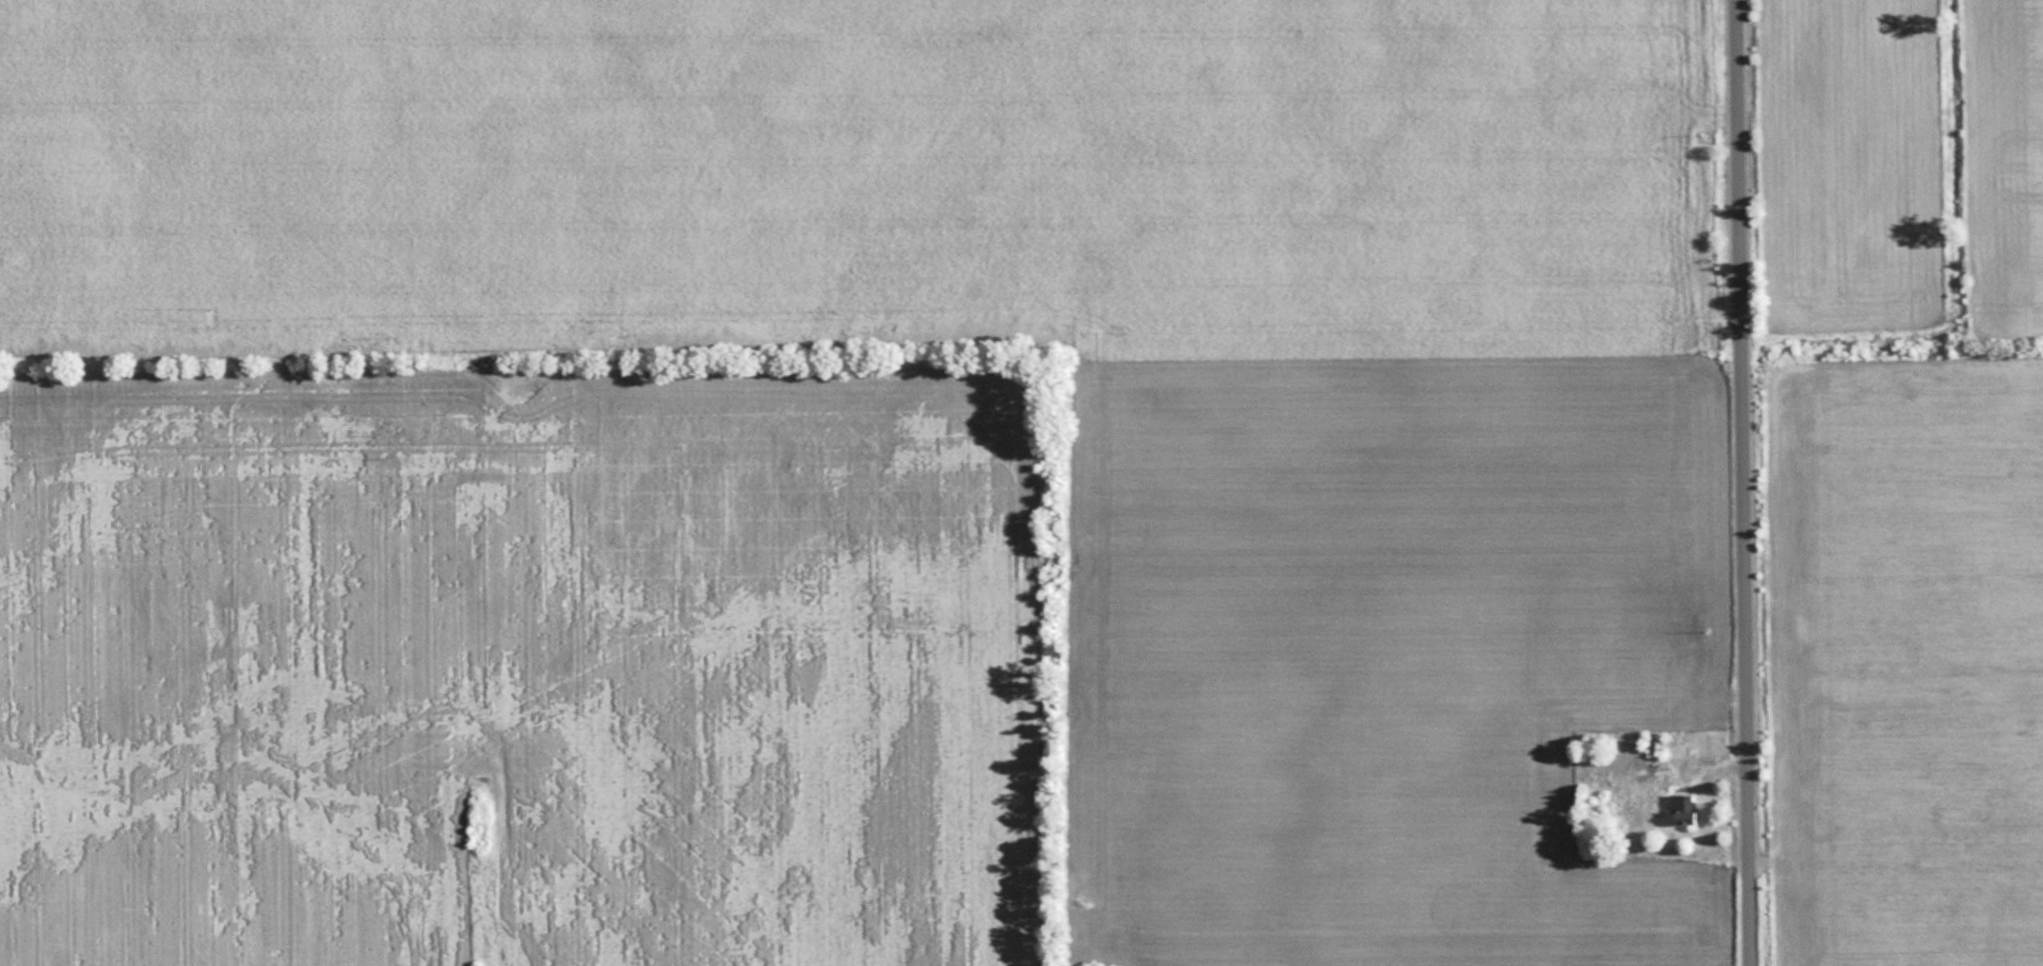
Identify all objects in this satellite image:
road: (1746, 482)
building: (1654, 743)
building: (1682, 808)

